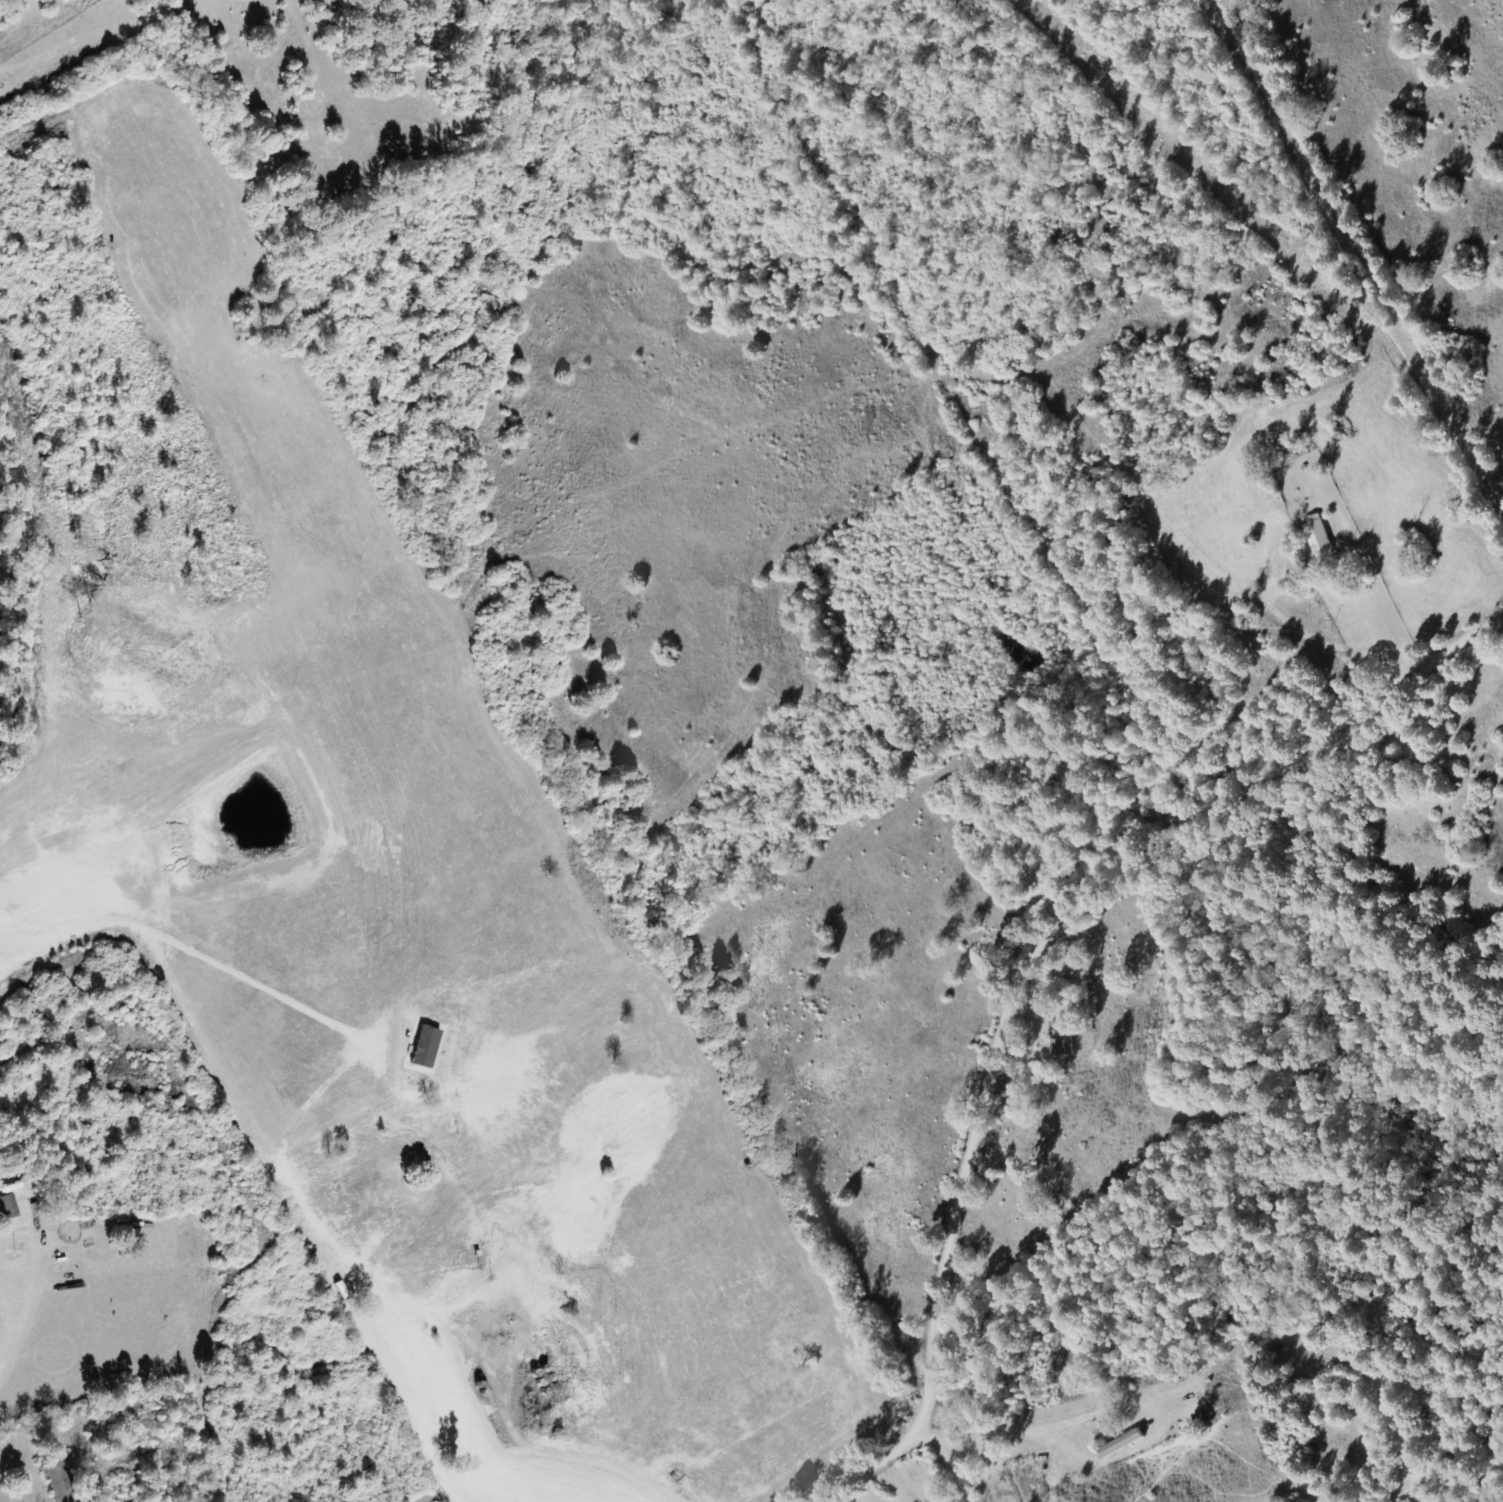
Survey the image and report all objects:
building: (1316, 536)
road: (1014, 981)
building: (1086, 1028)
building: (10, 1207)
building: (1119, 1444)
building: (52, 1472)
road: (915, 1473)

